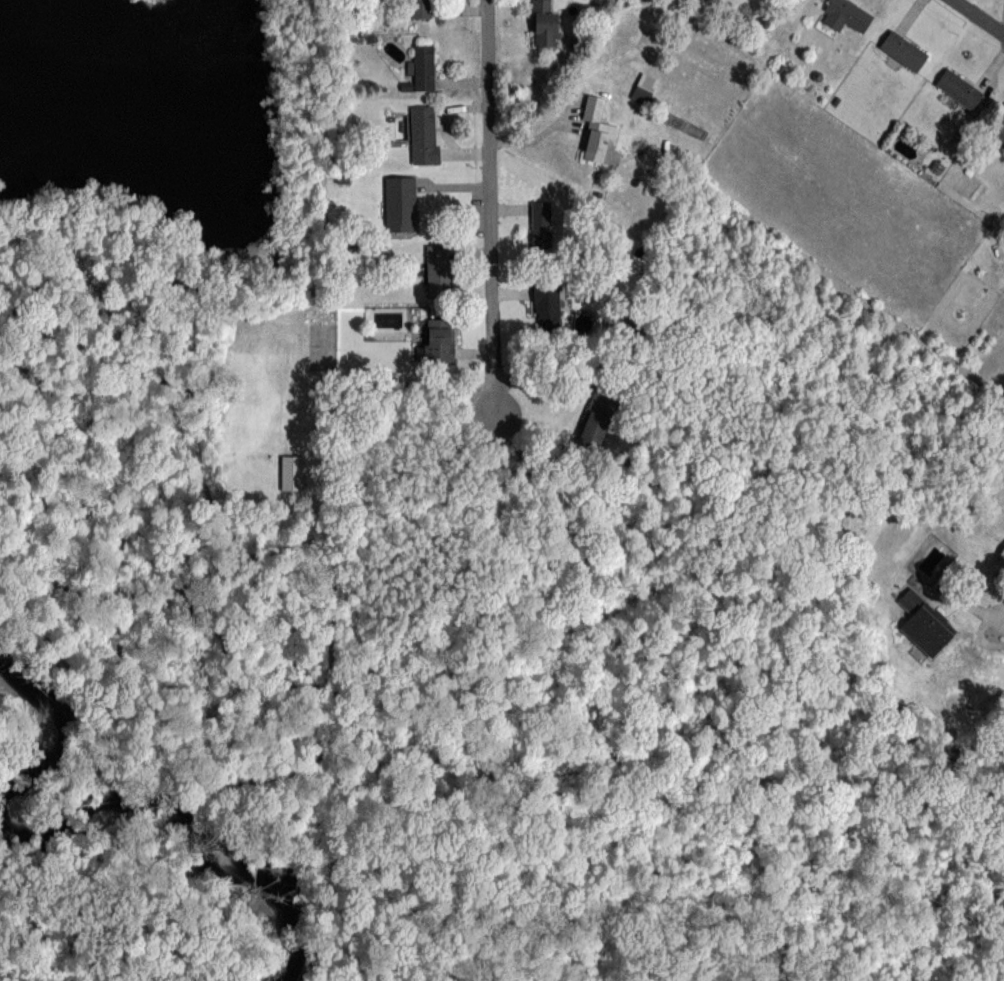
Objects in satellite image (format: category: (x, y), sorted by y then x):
building: (421, 9)
building: (846, 14)
road: (980, 16)
building: (545, 24)
building: (903, 50)
building: (423, 66)
building: (958, 88)
building: (998, 124)
building: (597, 131)
building: (423, 135)
building: (399, 203)
road: (490, 210)
building: (540, 223)
building: (439, 271)
building: (547, 305)
building: (439, 340)
road: (553, 379)
building: (596, 422)
road: (972, 609)
building: (924, 624)
river: (106, 799)

